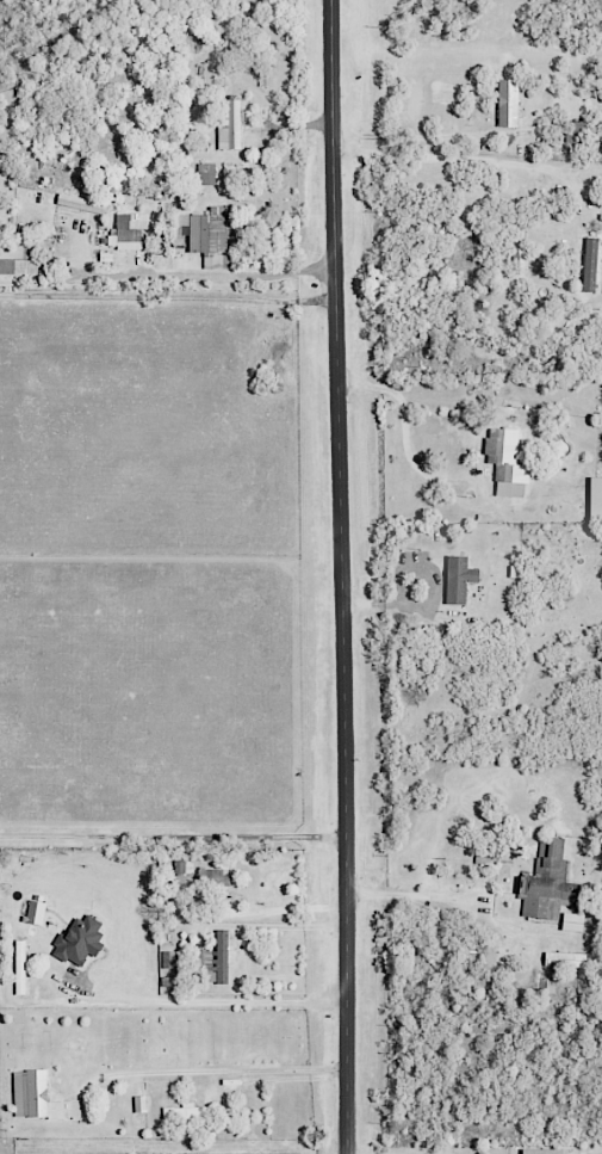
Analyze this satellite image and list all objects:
road: (108, 98)
building: (507, 103)
building: (228, 123)
road: (421, 136)
road: (466, 158)
building: (205, 173)
building: (80, 203)
building: (126, 230)
building: (204, 235)
building: (18, 259)
building: (589, 264)
road: (211, 282)
road: (168, 298)
road: (403, 448)
building: (505, 462)
building: (595, 498)
road: (341, 576)
building: (458, 579)
road: (172, 654)
road: (173, 837)
building: (181, 870)
building: (553, 881)
road: (403, 897)
building: (35, 912)
building: (572, 921)
building: (79, 940)
building: (222, 957)
building: (564, 959)
building: (18, 967)
road: (206, 1004)
road: (200, 1072)
road: (280, 1079)
building: (33, 1096)
building: (138, 1104)
building: (186, 1115)
building: (544, 1150)

